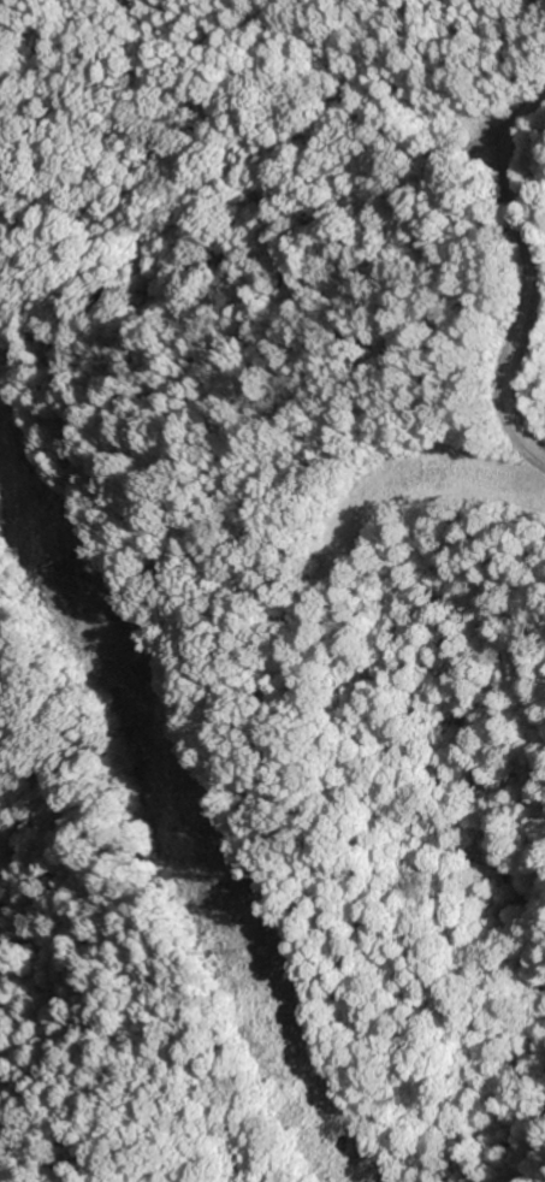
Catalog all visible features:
road: (277, 81)
road: (468, 146)
road: (531, 277)

